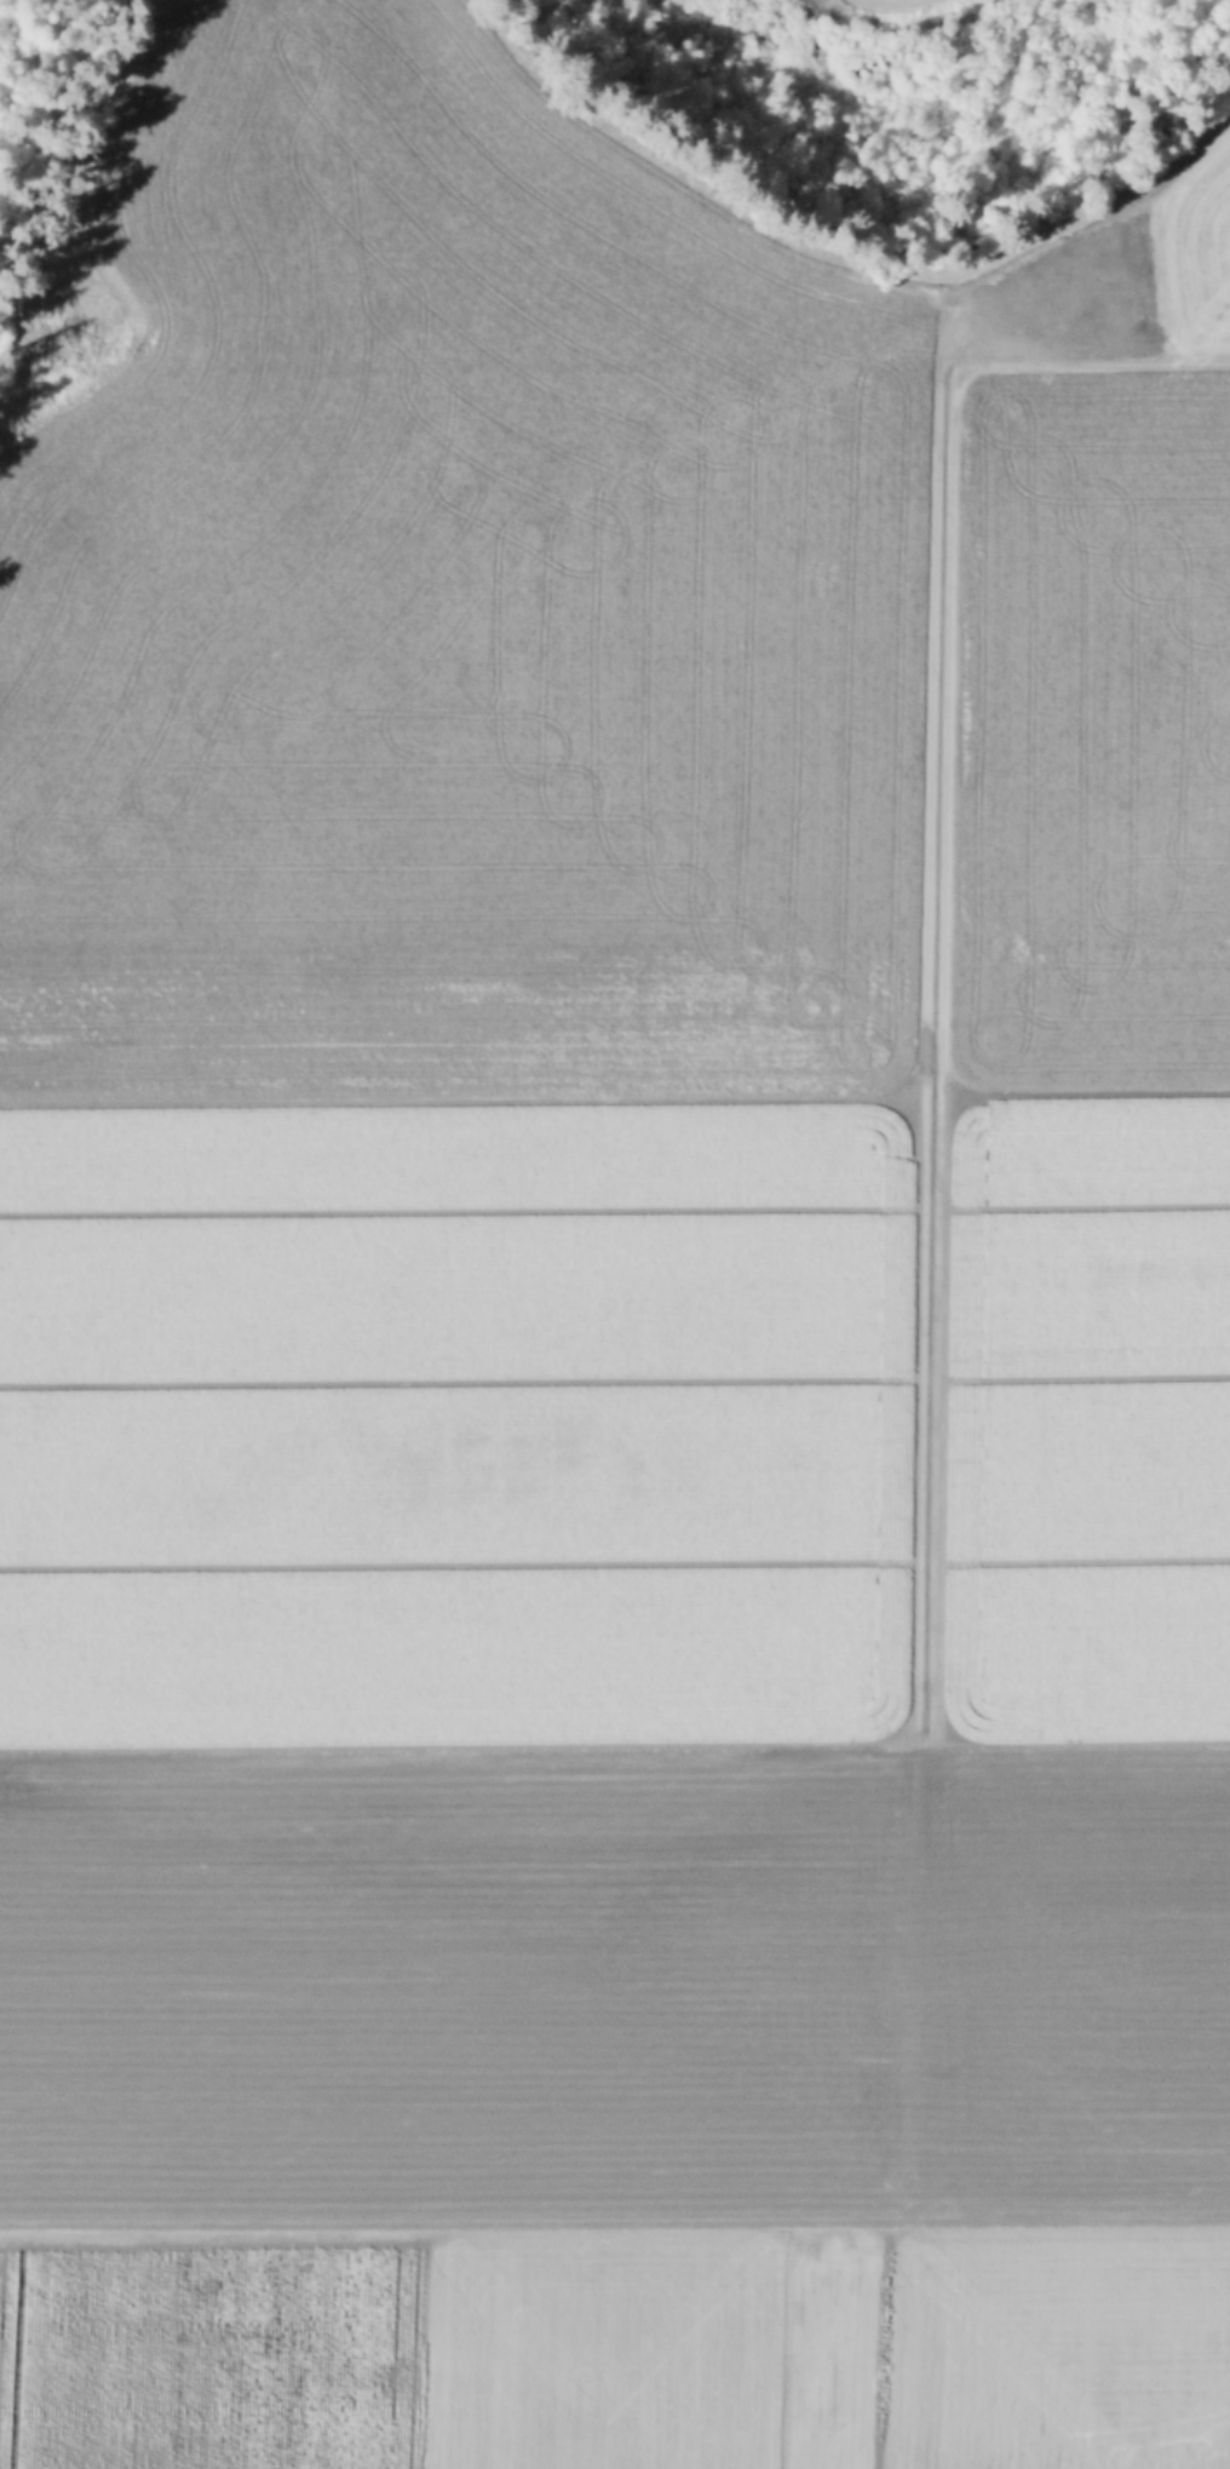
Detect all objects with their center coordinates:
road: (937, 1291)

